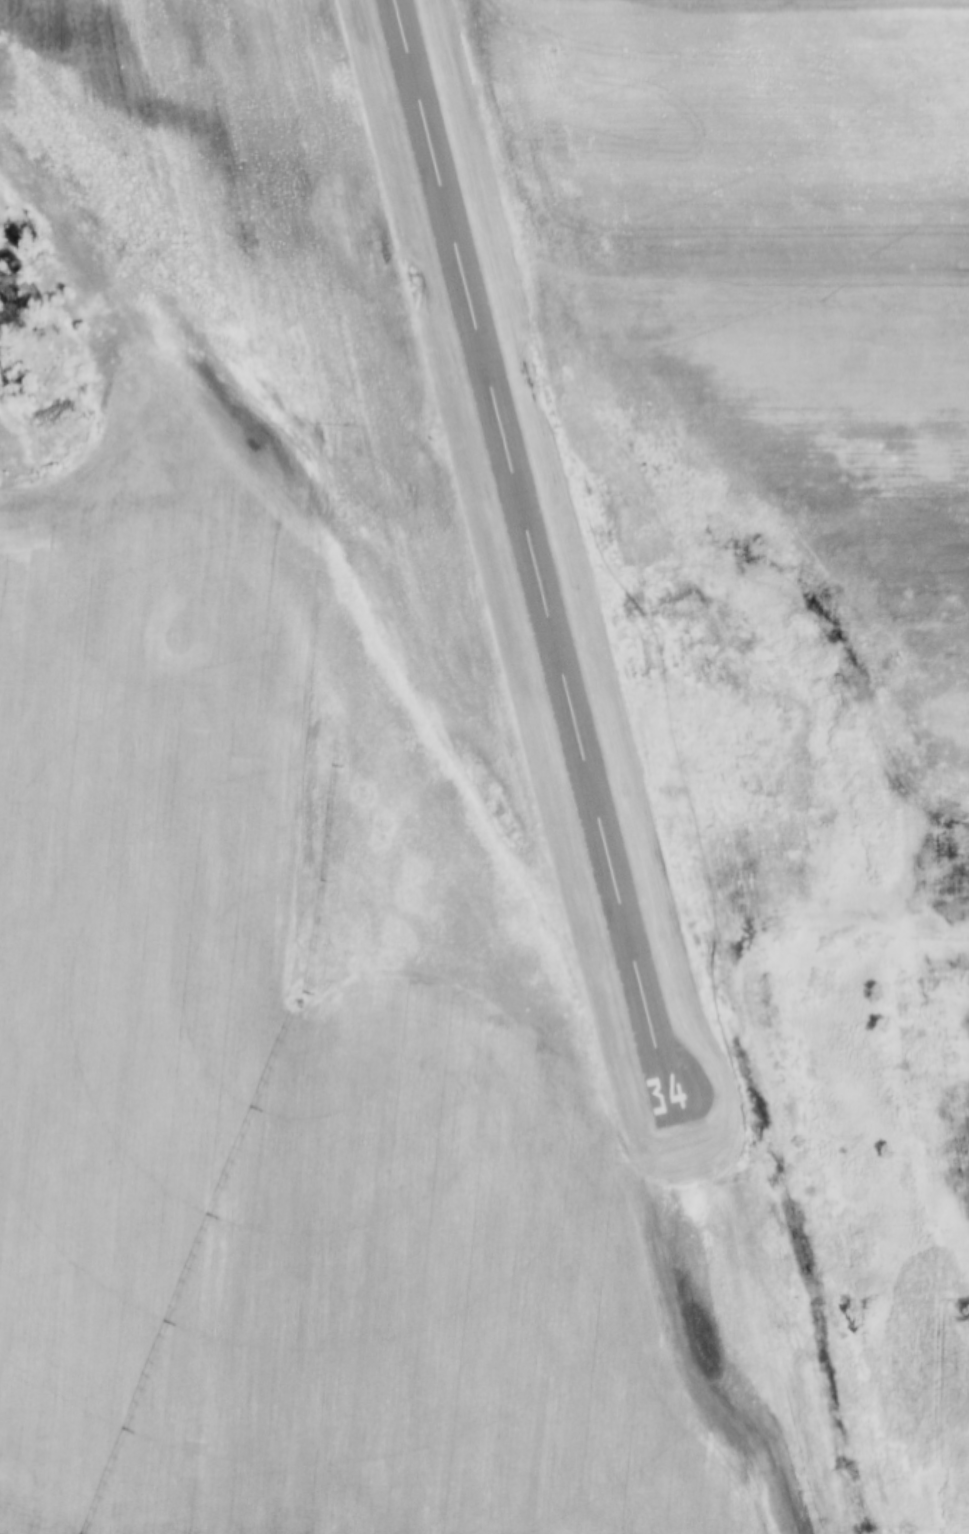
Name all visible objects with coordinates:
airport: (391, 429)
airport runway: (527, 540)
airport taxiway: (679, 1088)

